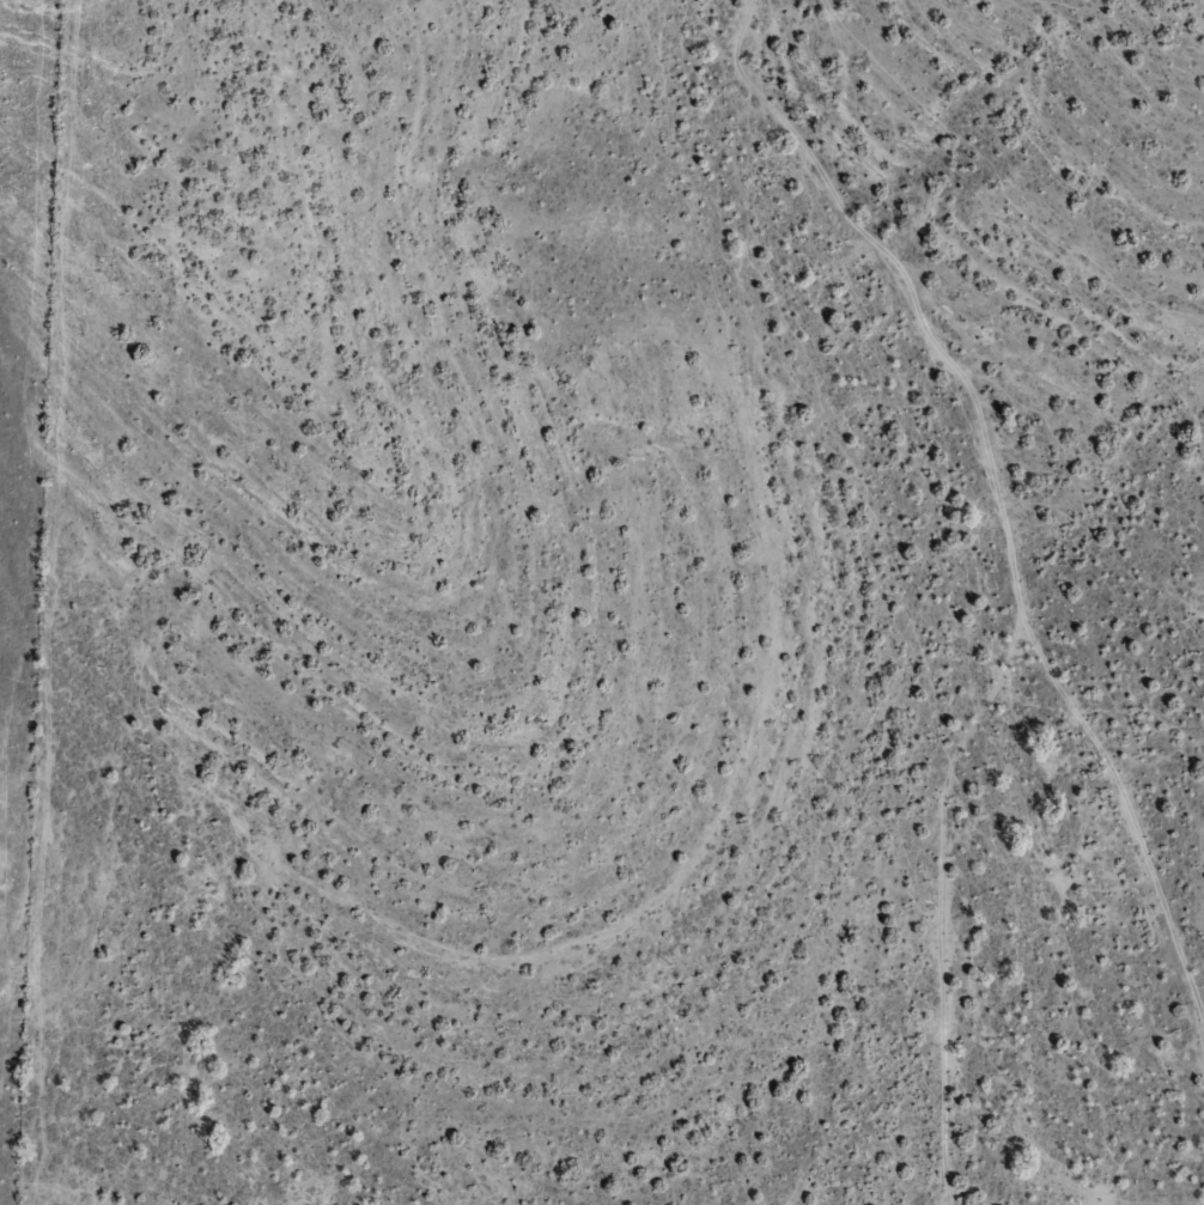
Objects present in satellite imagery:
road: (1039, 571)
road: (1157, 771)

